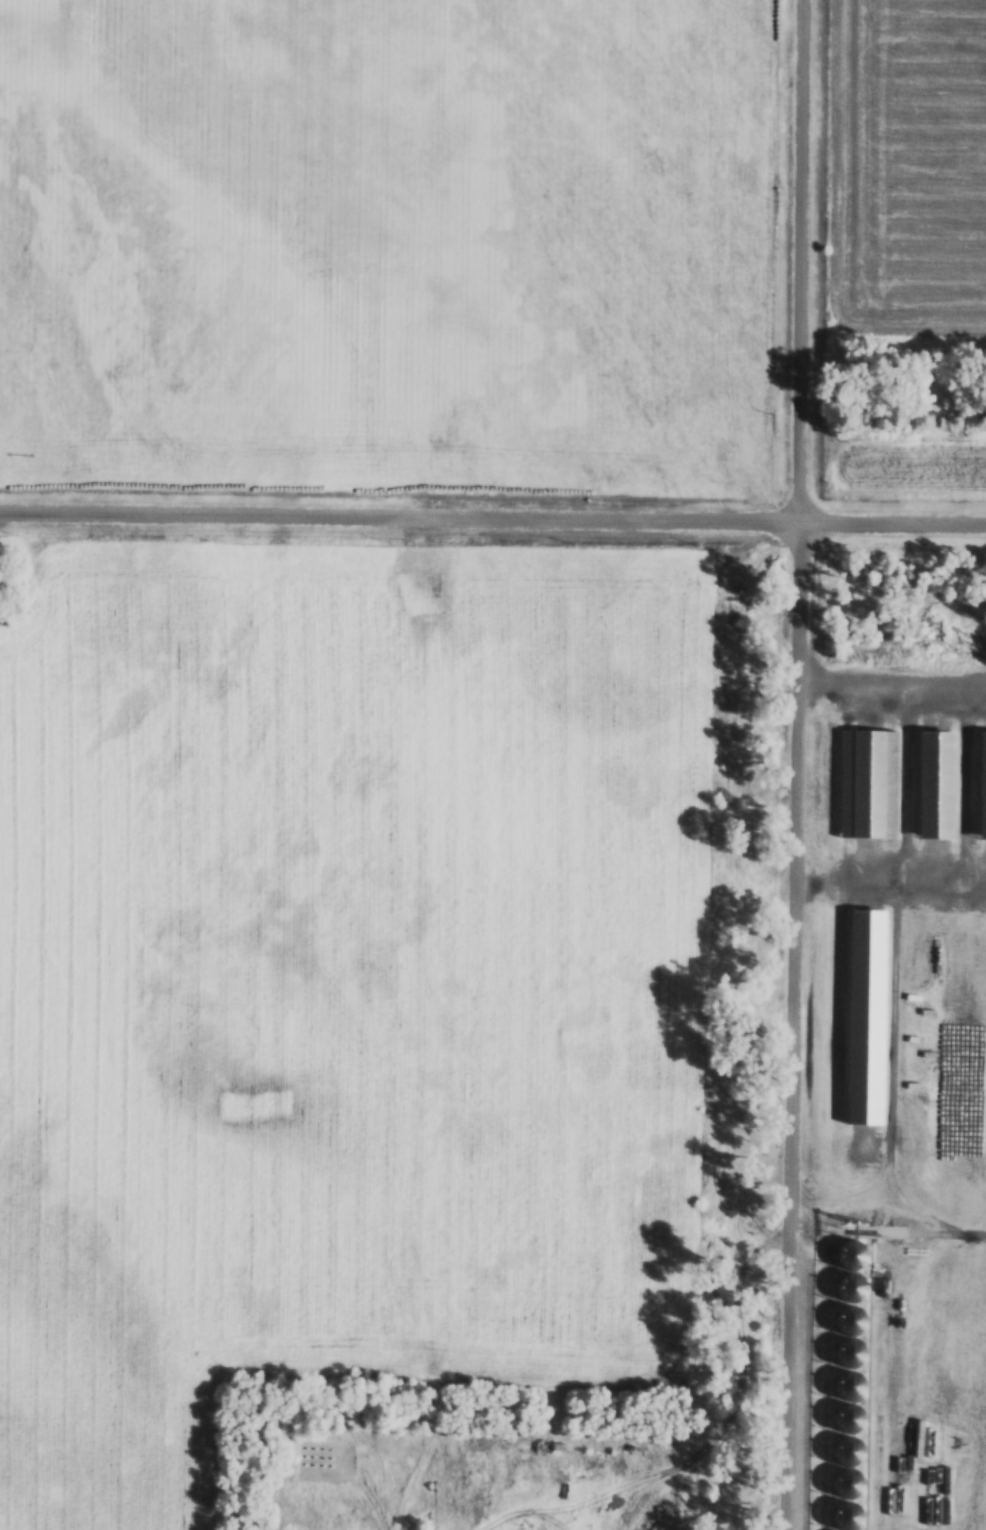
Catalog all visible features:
road: (492, 519)
road: (893, 682)
road: (800, 765)
building: (869, 782)
building: (934, 786)
building: (980, 790)
building: (851, 1319)
building: (848, 1353)
building: (850, 1385)
building: (849, 1419)
road: (423, 1480)

